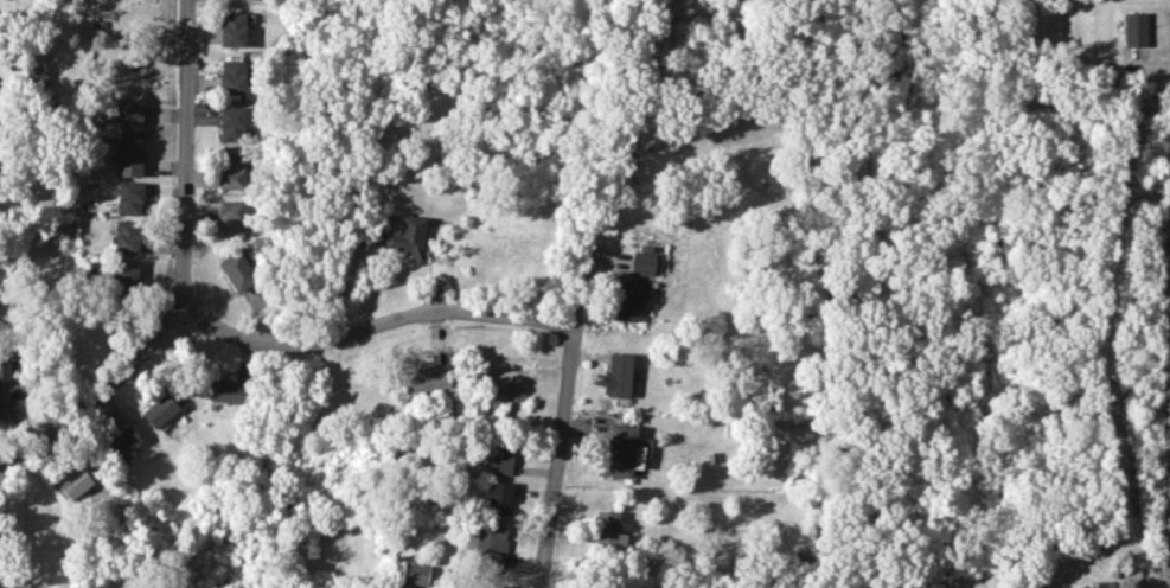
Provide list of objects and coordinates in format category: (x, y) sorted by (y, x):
building: (231, 28)
building: (1133, 28)
building: (231, 76)
building: (36, 77)
building: (126, 122)
building: (230, 123)
road: (188, 153)
building: (128, 159)
building: (230, 171)
building: (129, 198)
building: (229, 218)
building: (404, 235)
building: (126, 236)
building: (641, 263)
building: (236, 271)
building: (628, 300)
road: (377, 322)
building: (4, 364)
building: (618, 375)
building: (423, 378)
road: (96, 389)
building: (226, 391)
building: (510, 391)
building: (159, 409)
road: (562, 417)
building: (122, 442)
building: (620, 453)
building: (498, 455)
building: (73, 482)
building: (498, 497)
building: (485, 544)
building: (414, 574)
building: (1106, 584)
building: (13, 587)

